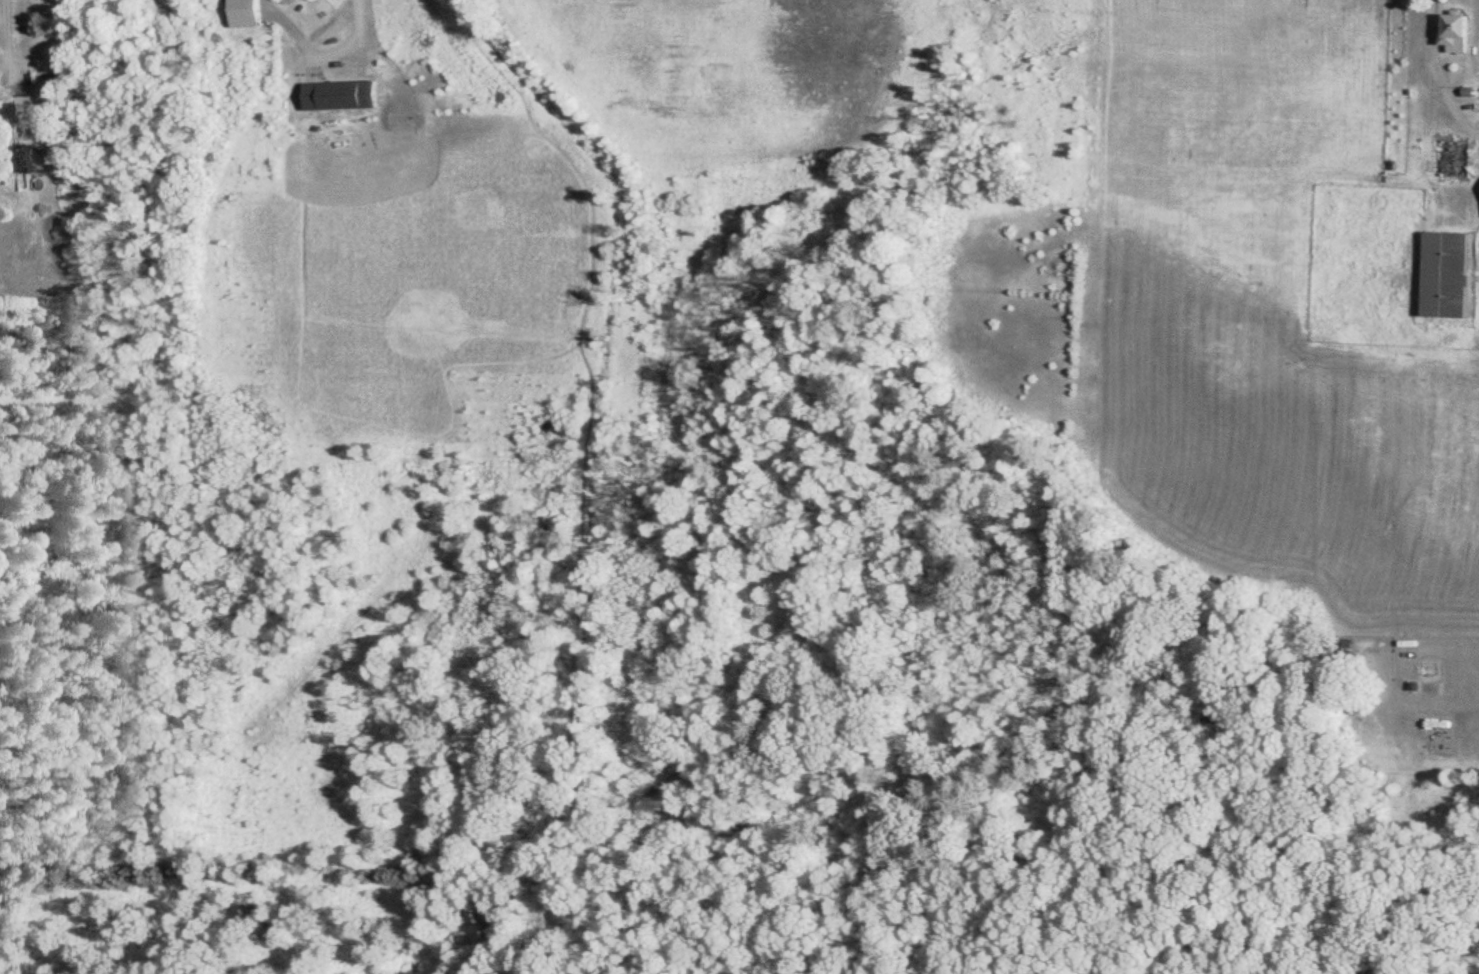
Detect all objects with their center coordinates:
building: (1449, 33)
road: (352, 35)
road: (6, 41)
road: (1436, 74)
building: (21, 159)
building: (1439, 275)
road: (1449, 701)

